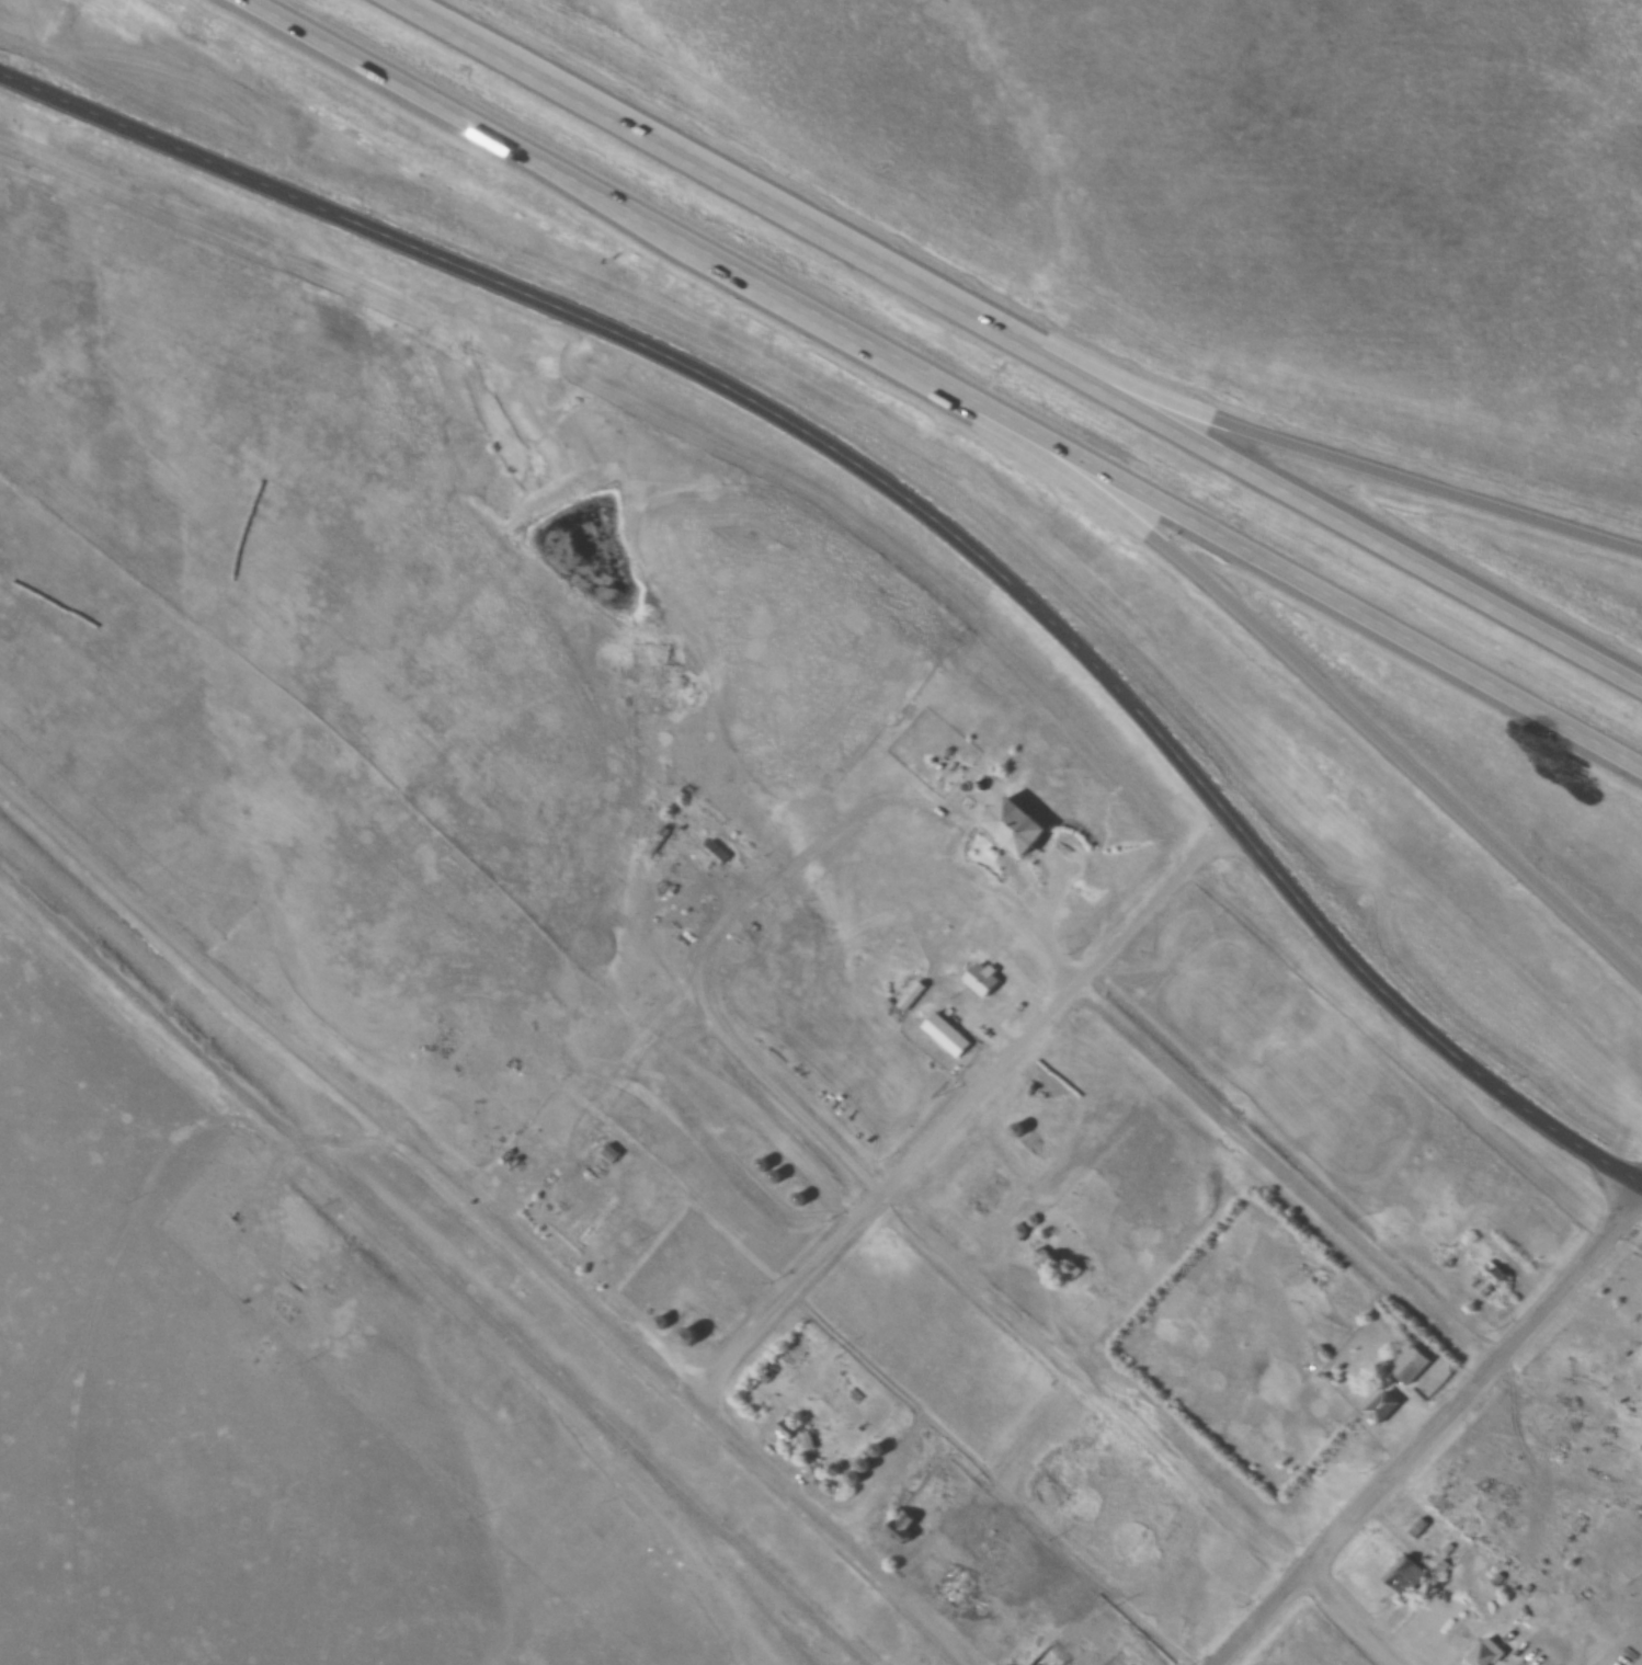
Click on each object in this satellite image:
road: (1013, 341)
road: (939, 388)
road: (1295, 451)
road: (911, 505)
road: (1265, 639)
building: (1017, 826)
building: (654, 844)
building: (710, 855)
building: (980, 981)
building: (912, 995)
building: (946, 1036)
road: (744, 1064)
railway: (242, 1105)
road: (962, 1116)
road: (745, 1129)
building: (1018, 1130)
road: (1232, 1131)
building: (763, 1165)
building: (775, 1176)
building: (984, 1194)
building: (799, 1199)
building: (1033, 1220)
road: (488, 1222)
building: (1019, 1231)
building: (563, 1235)
building: (1045, 1259)
building: (1490, 1281)
building: (664, 1323)
building: (691, 1337)
building: (1412, 1367)
building: (1382, 1407)
road: (1144, 1427)
building: (788, 1433)
road: (1435, 1438)
building: (880, 1450)
building: (814, 1459)
building: (866, 1467)
building: (856, 1480)
railway: (627, 1492)
railway: (670, 1495)
building: (903, 1527)
building: (1417, 1531)
building: (1403, 1576)
railway: (764, 1594)
building: (1486, 1653)
building: (1048, 1660)

